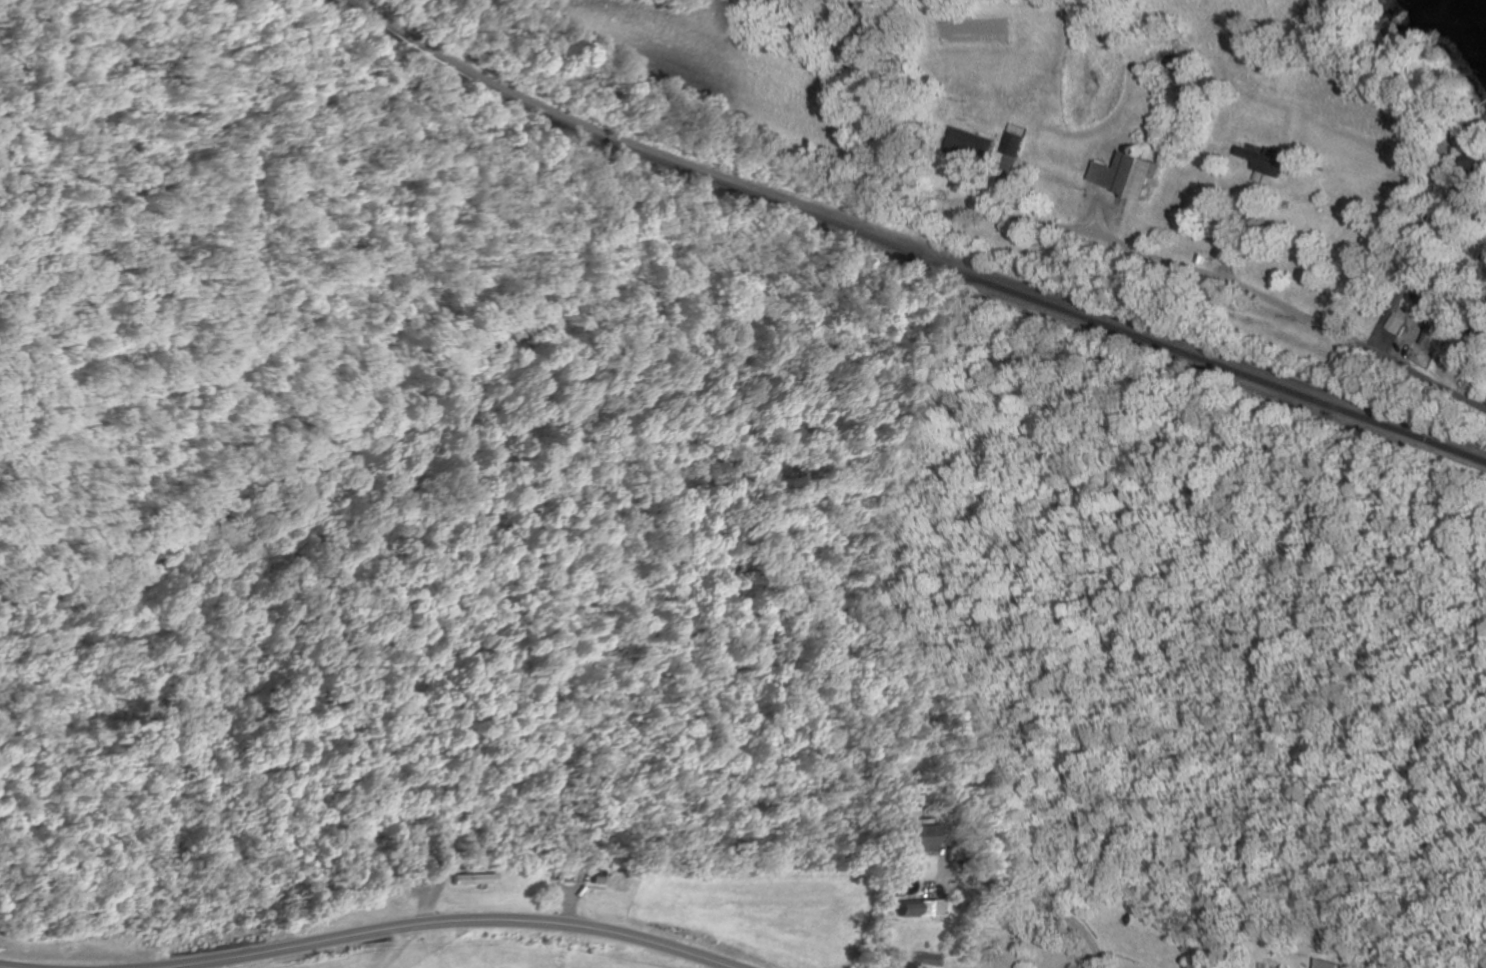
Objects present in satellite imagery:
crop: (978, 30)
crop: (714, 61)
building: (1456, 130)
building: (1467, 133)
building: (1015, 139)
building: (972, 145)
silo: (1138, 149)
building: (1479, 158)
building: (1262, 159)
building: (1125, 174)
road: (1000, 182)
road: (1457, 182)
building: (1470, 204)
road: (1098, 215)
road: (55, 227)
road: (1237, 230)
road: (1414, 245)
railway: (900, 248)
building: (1198, 258)
road: (1242, 289)
building: (1429, 293)
building: (1393, 322)
building: (1431, 323)
building: (1479, 326)
building: (1425, 337)
road: (1382, 340)
building: (1468, 370)
road: (1443, 373)
road: (1485, 406)
building: (907, 838)
building: (538, 866)
building: (893, 870)
building: (596, 872)
building: (470, 878)
building: (593, 879)
road: (434, 884)
road: (929, 886)
building: (392, 889)
road: (562, 889)
road: (1025, 892)
road: (570, 899)
building: (915, 908)
road: (450, 922)
road: (400, 946)
building: (1331, 964)
road: (5, 967)

